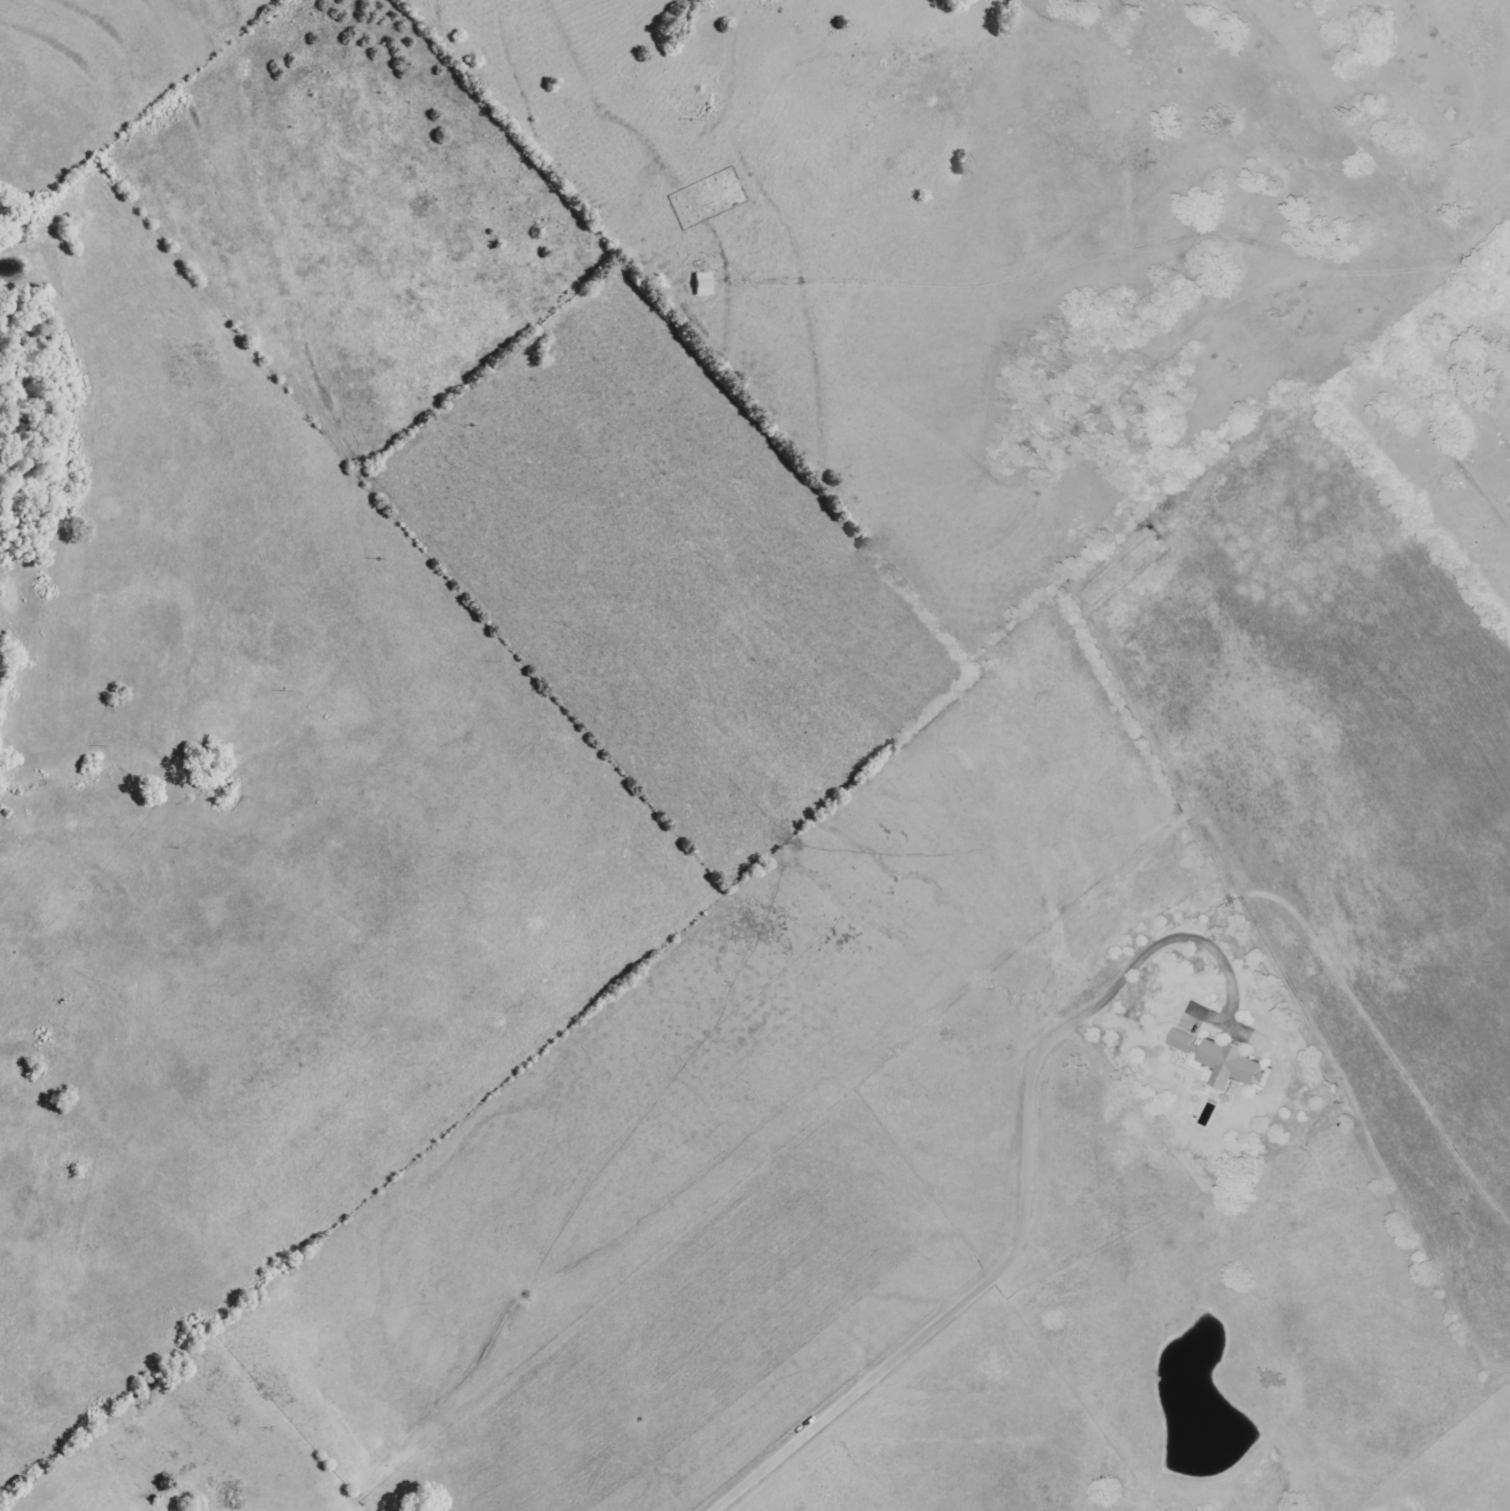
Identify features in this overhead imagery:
building: (1225, 1061)

